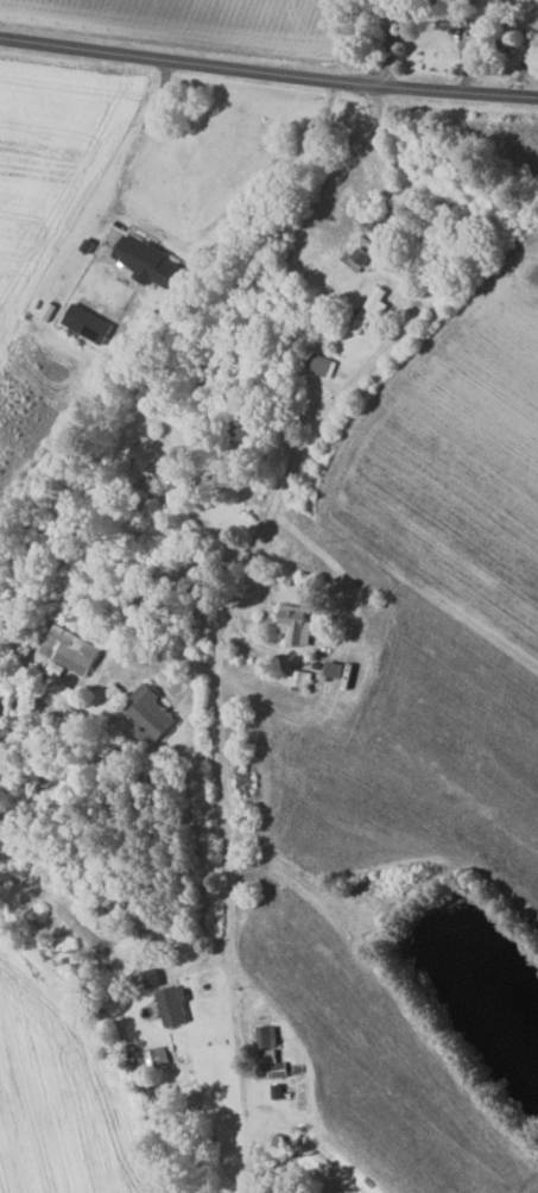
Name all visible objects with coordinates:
road: (393, 45)
road: (268, 72)
road: (133, 149)
building: (362, 253)
building: (151, 261)
building: (372, 309)
building: (322, 365)
building: (146, 454)
road: (138, 601)
road: (228, 616)
building: (296, 624)
building: (72, 650)
building: (299, 677)
building: (152, 715)
building: (175, 1005)
building: (268, 1037)
building: (277, 1065)

